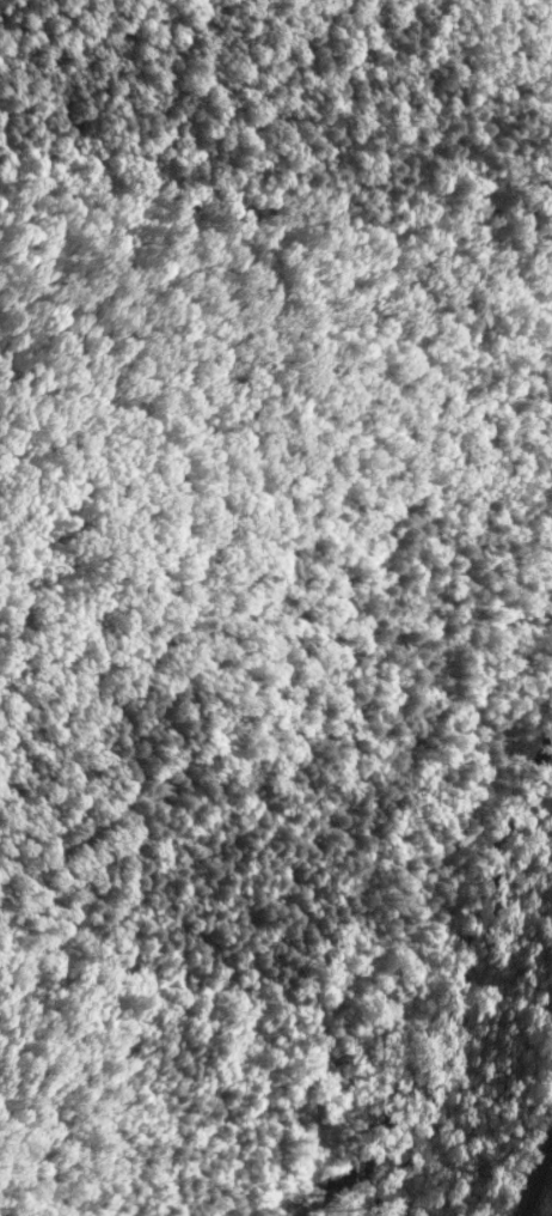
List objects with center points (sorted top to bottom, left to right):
railway: (517, 1136)

